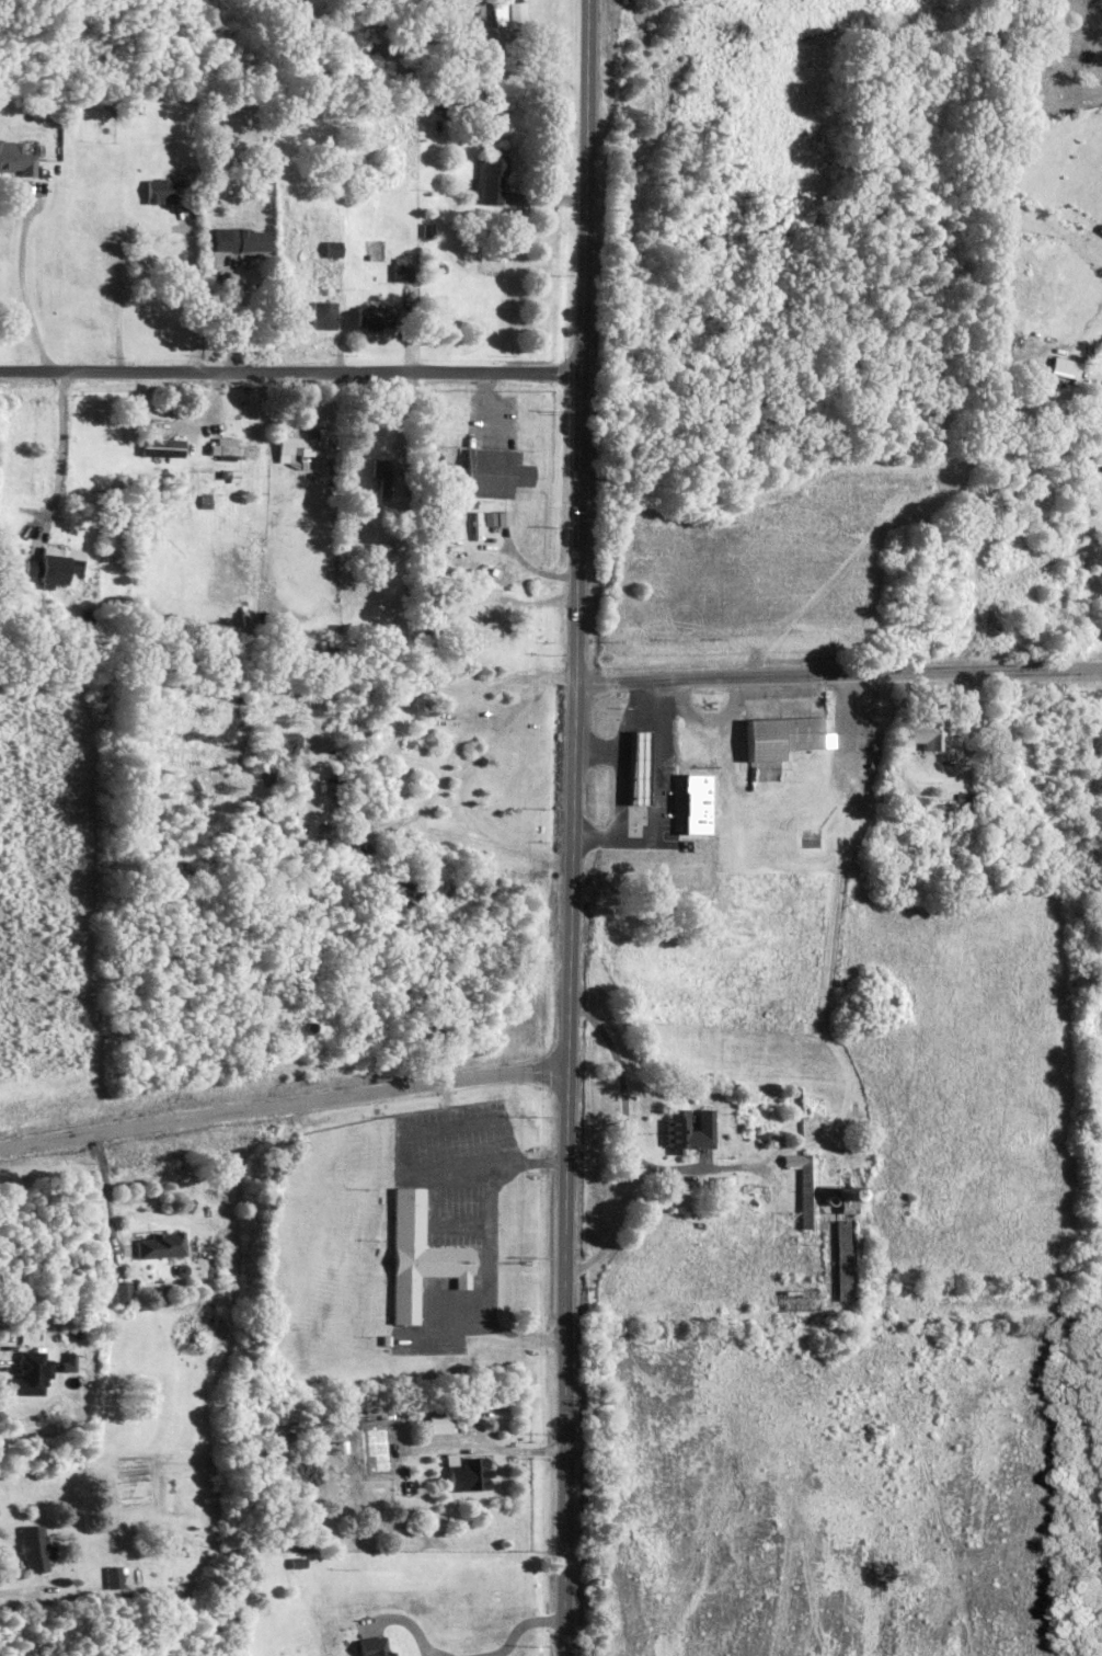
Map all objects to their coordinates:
building: (508, 12)
building: (16, 157)
building: (491, 175)
building: (160, 190)
building: (241, 238)
building: (333, 247)
building: (402, 267)
road: (18, 287)
road: (190, 292)
building: (324, 313)
building: (375, 315)
building: (1065, 366)
road: (287, 372)
building: (300, 442)
building: (163, 445)
building: (226, 446)
road: (58, 450)
building: (494, 471)
building: (383, 475)
building: (495, 516)
building: (55, 564)
road: (837, 673)
building: (926, 731)
building: (783, 734)
building: (639, 766)
building: (912, 800)
building: (697, 802)
road: (570, 827)
road: (282, 1104)
building: (687, 1129)
road: (407, 1130)
road: (624, 1130)
building: (723, 1185)
building: (805, 1186)
road: (107, 1190)
road: (616, 1227)
building: (162, 1244)
road: (486, 1244)
building: (420, 1255)
building: (123, 1291)
building: (70, 1360)
building: (31, 1372)
road: (498, 1446)
building: (466, 1472)
building: (33, 1546)
building: (114, 1576)
road: (515, 1625)
building: (374, 1646)
road: (425, 1648)

